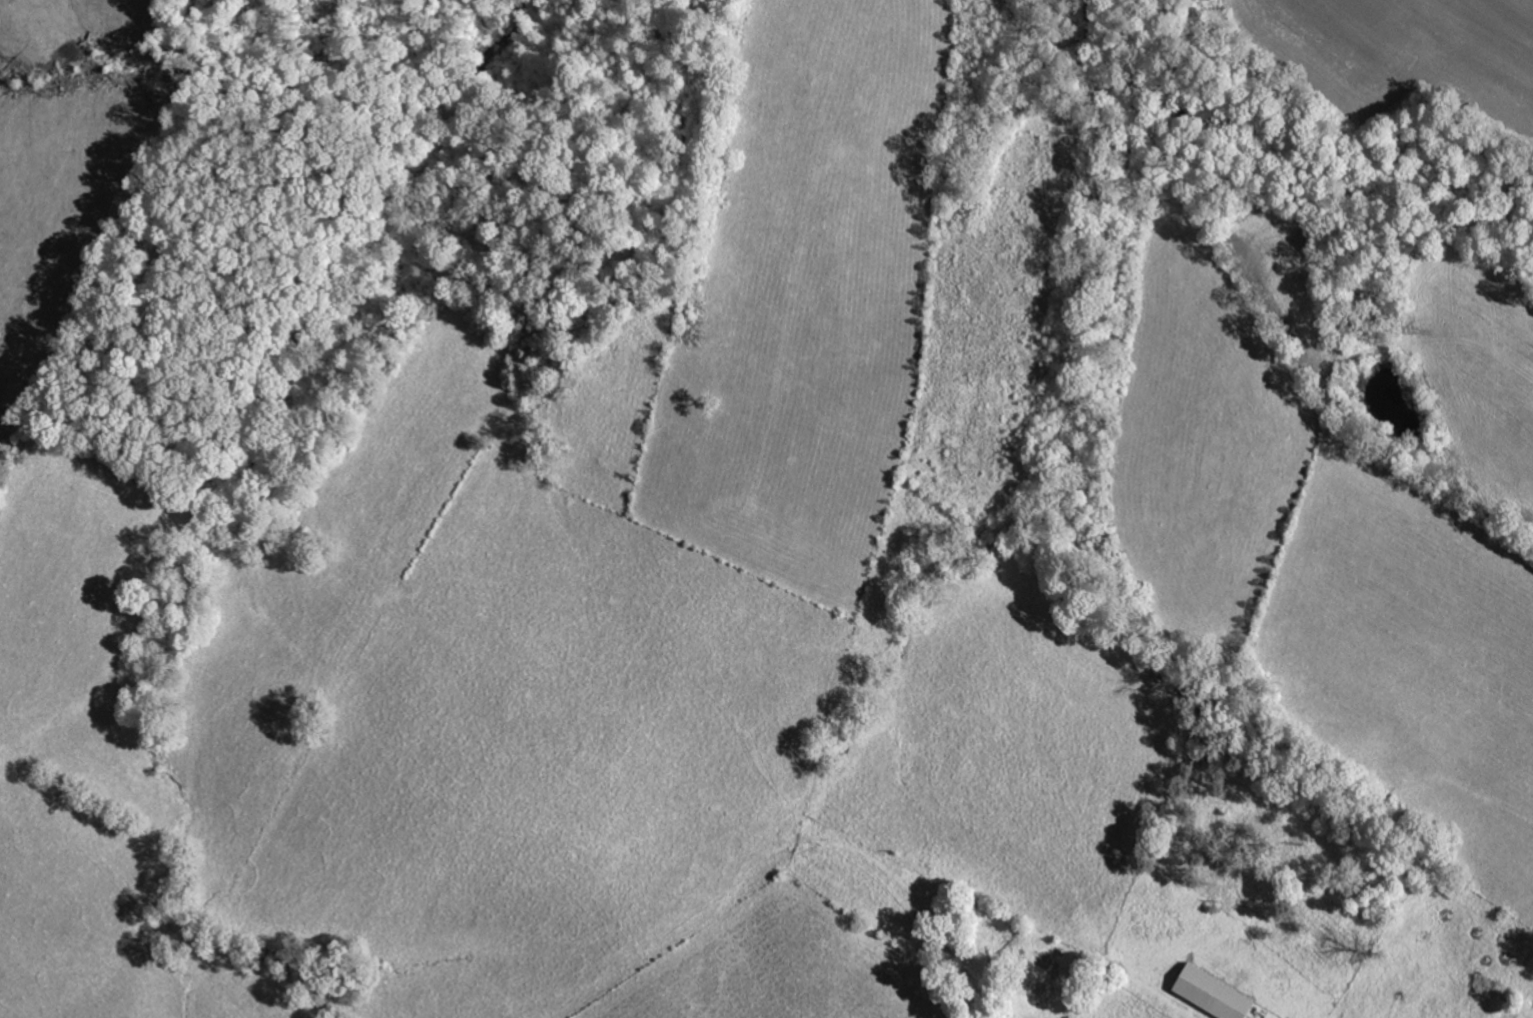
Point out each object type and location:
building: (1214, 993)

